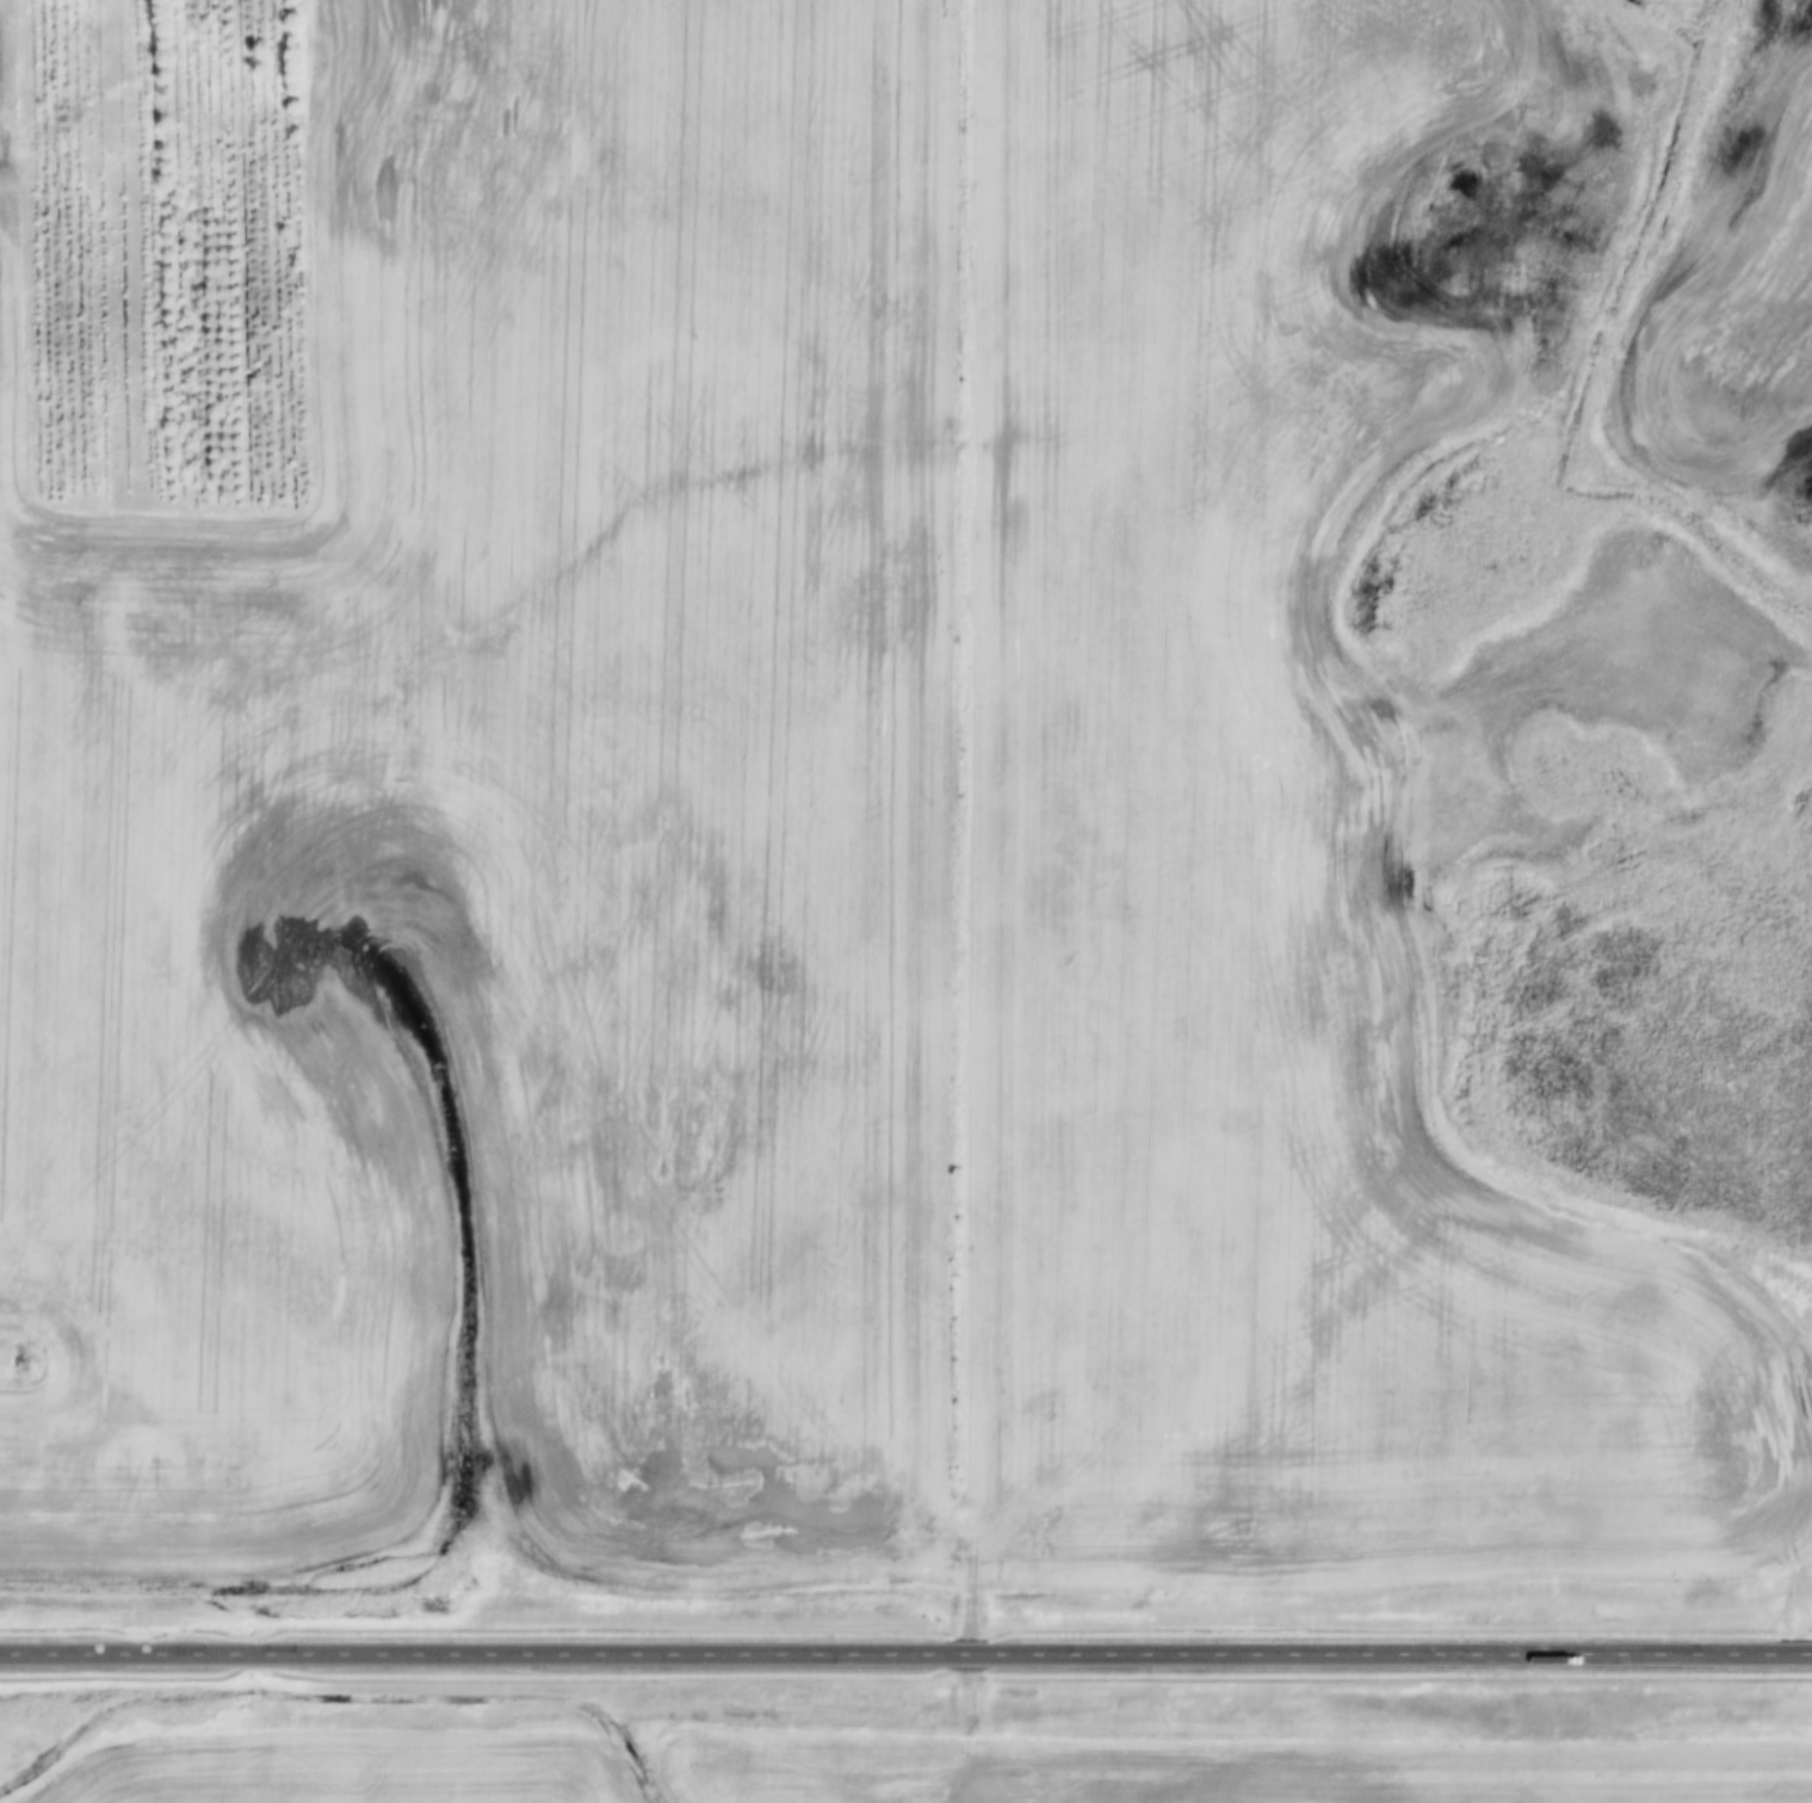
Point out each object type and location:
road: (905, 1650)

